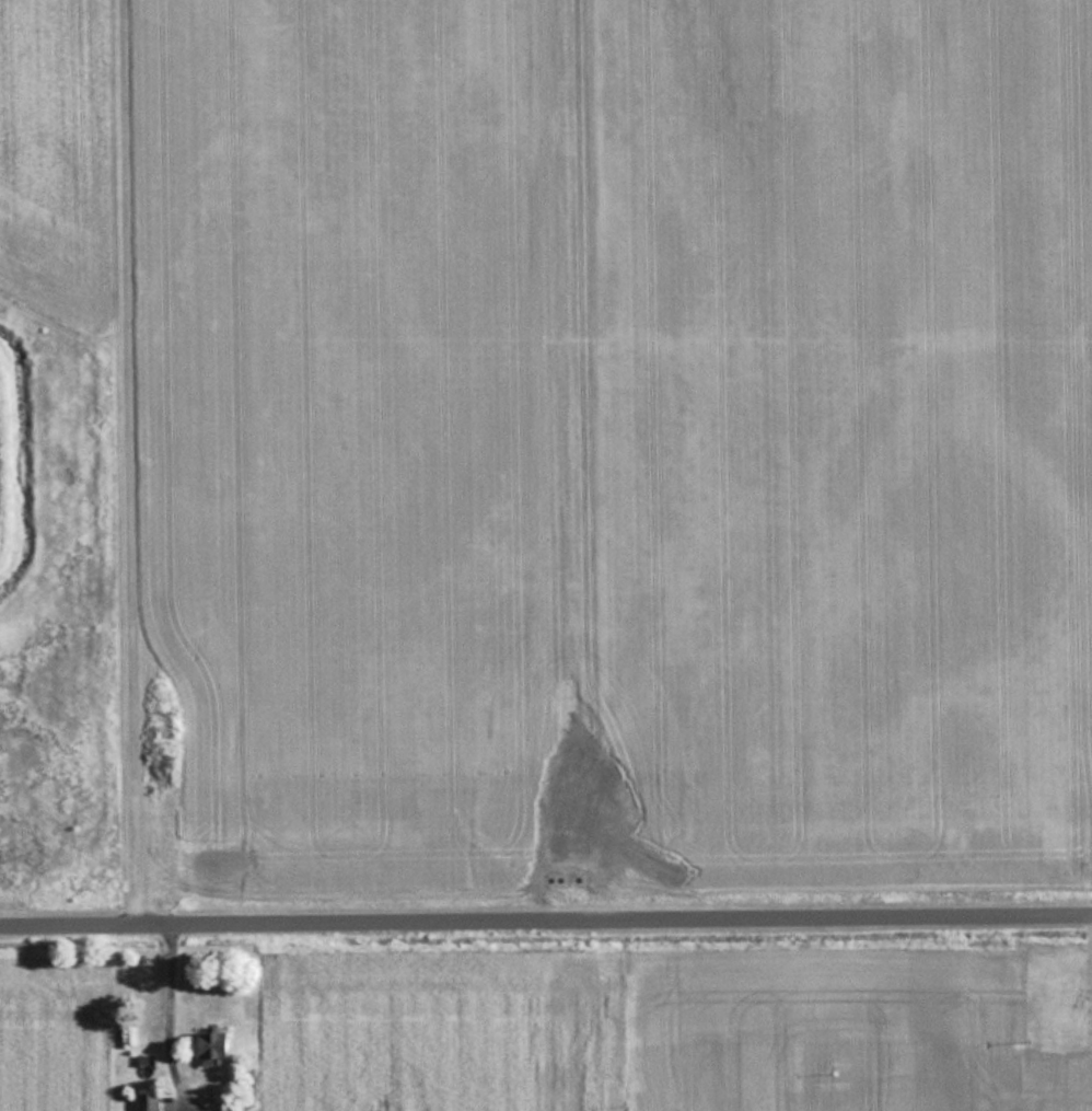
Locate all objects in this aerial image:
road: (126, 465)
road: (545, 925)
building: (212, 1046)
building: (147, 1101)

